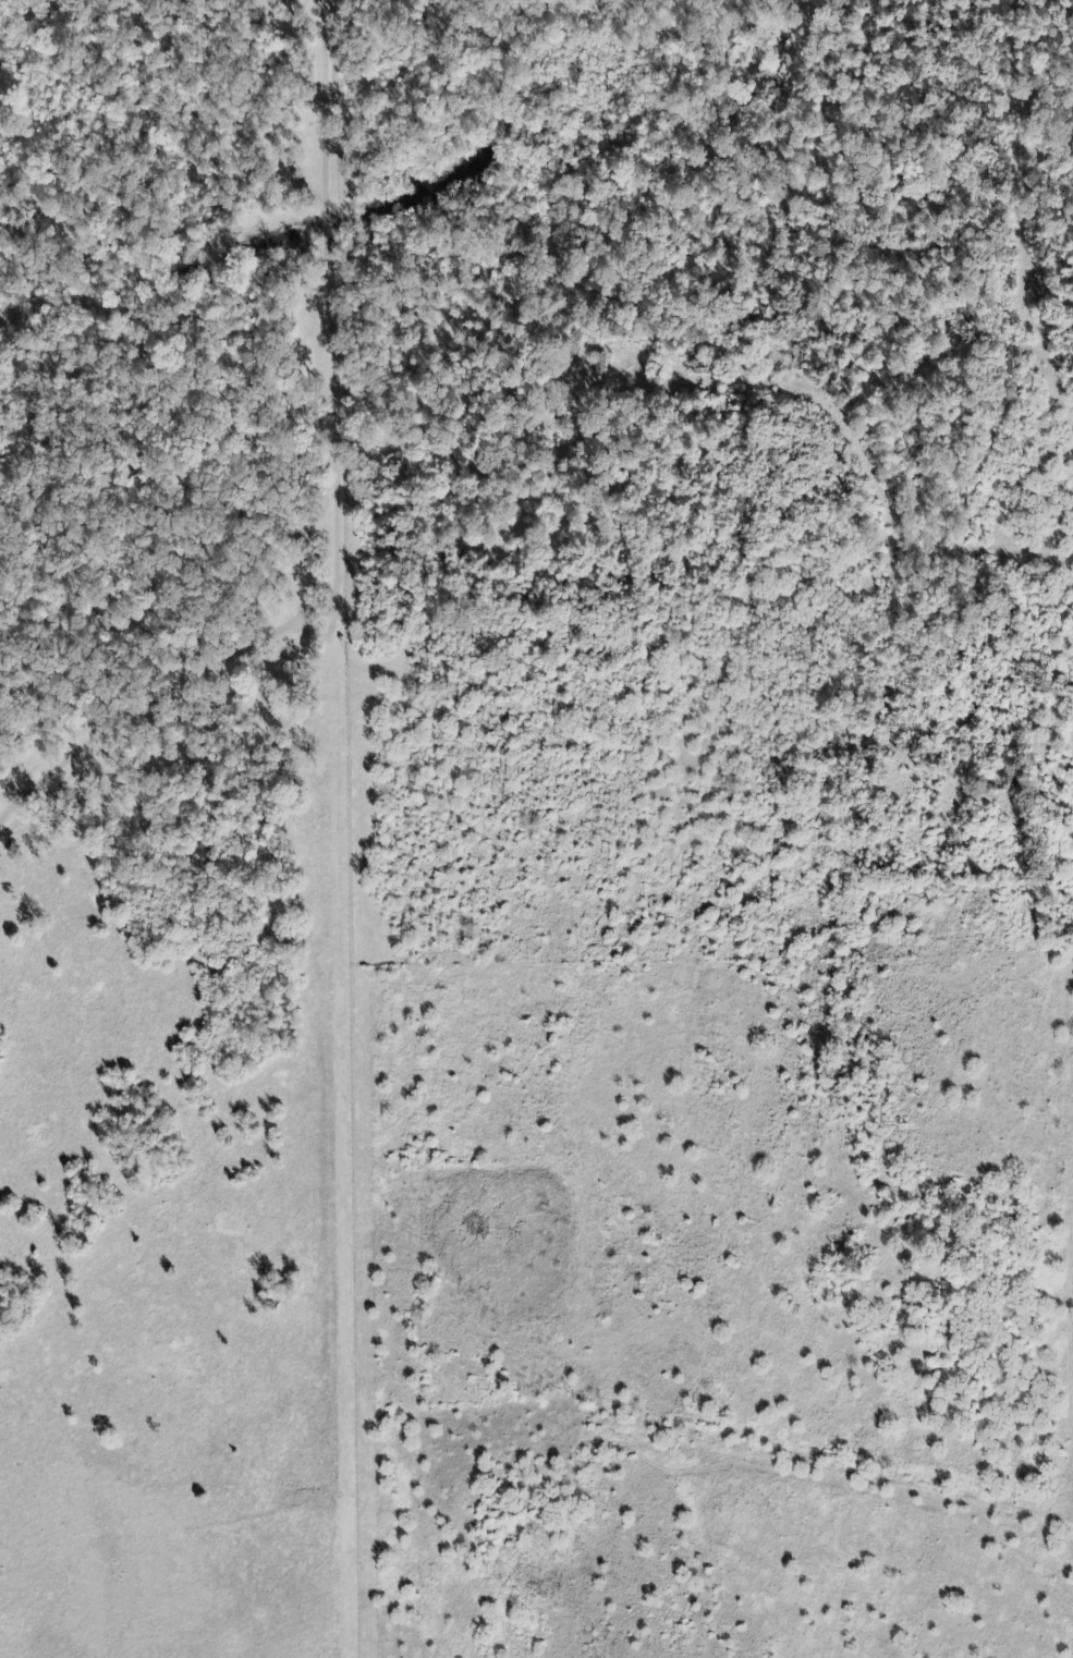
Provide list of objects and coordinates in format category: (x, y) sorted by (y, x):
road: (1025, 232)
road: (919, 548)
road: (1050, 947)
road: (1028, 1309)
road: (1072, 1374)

